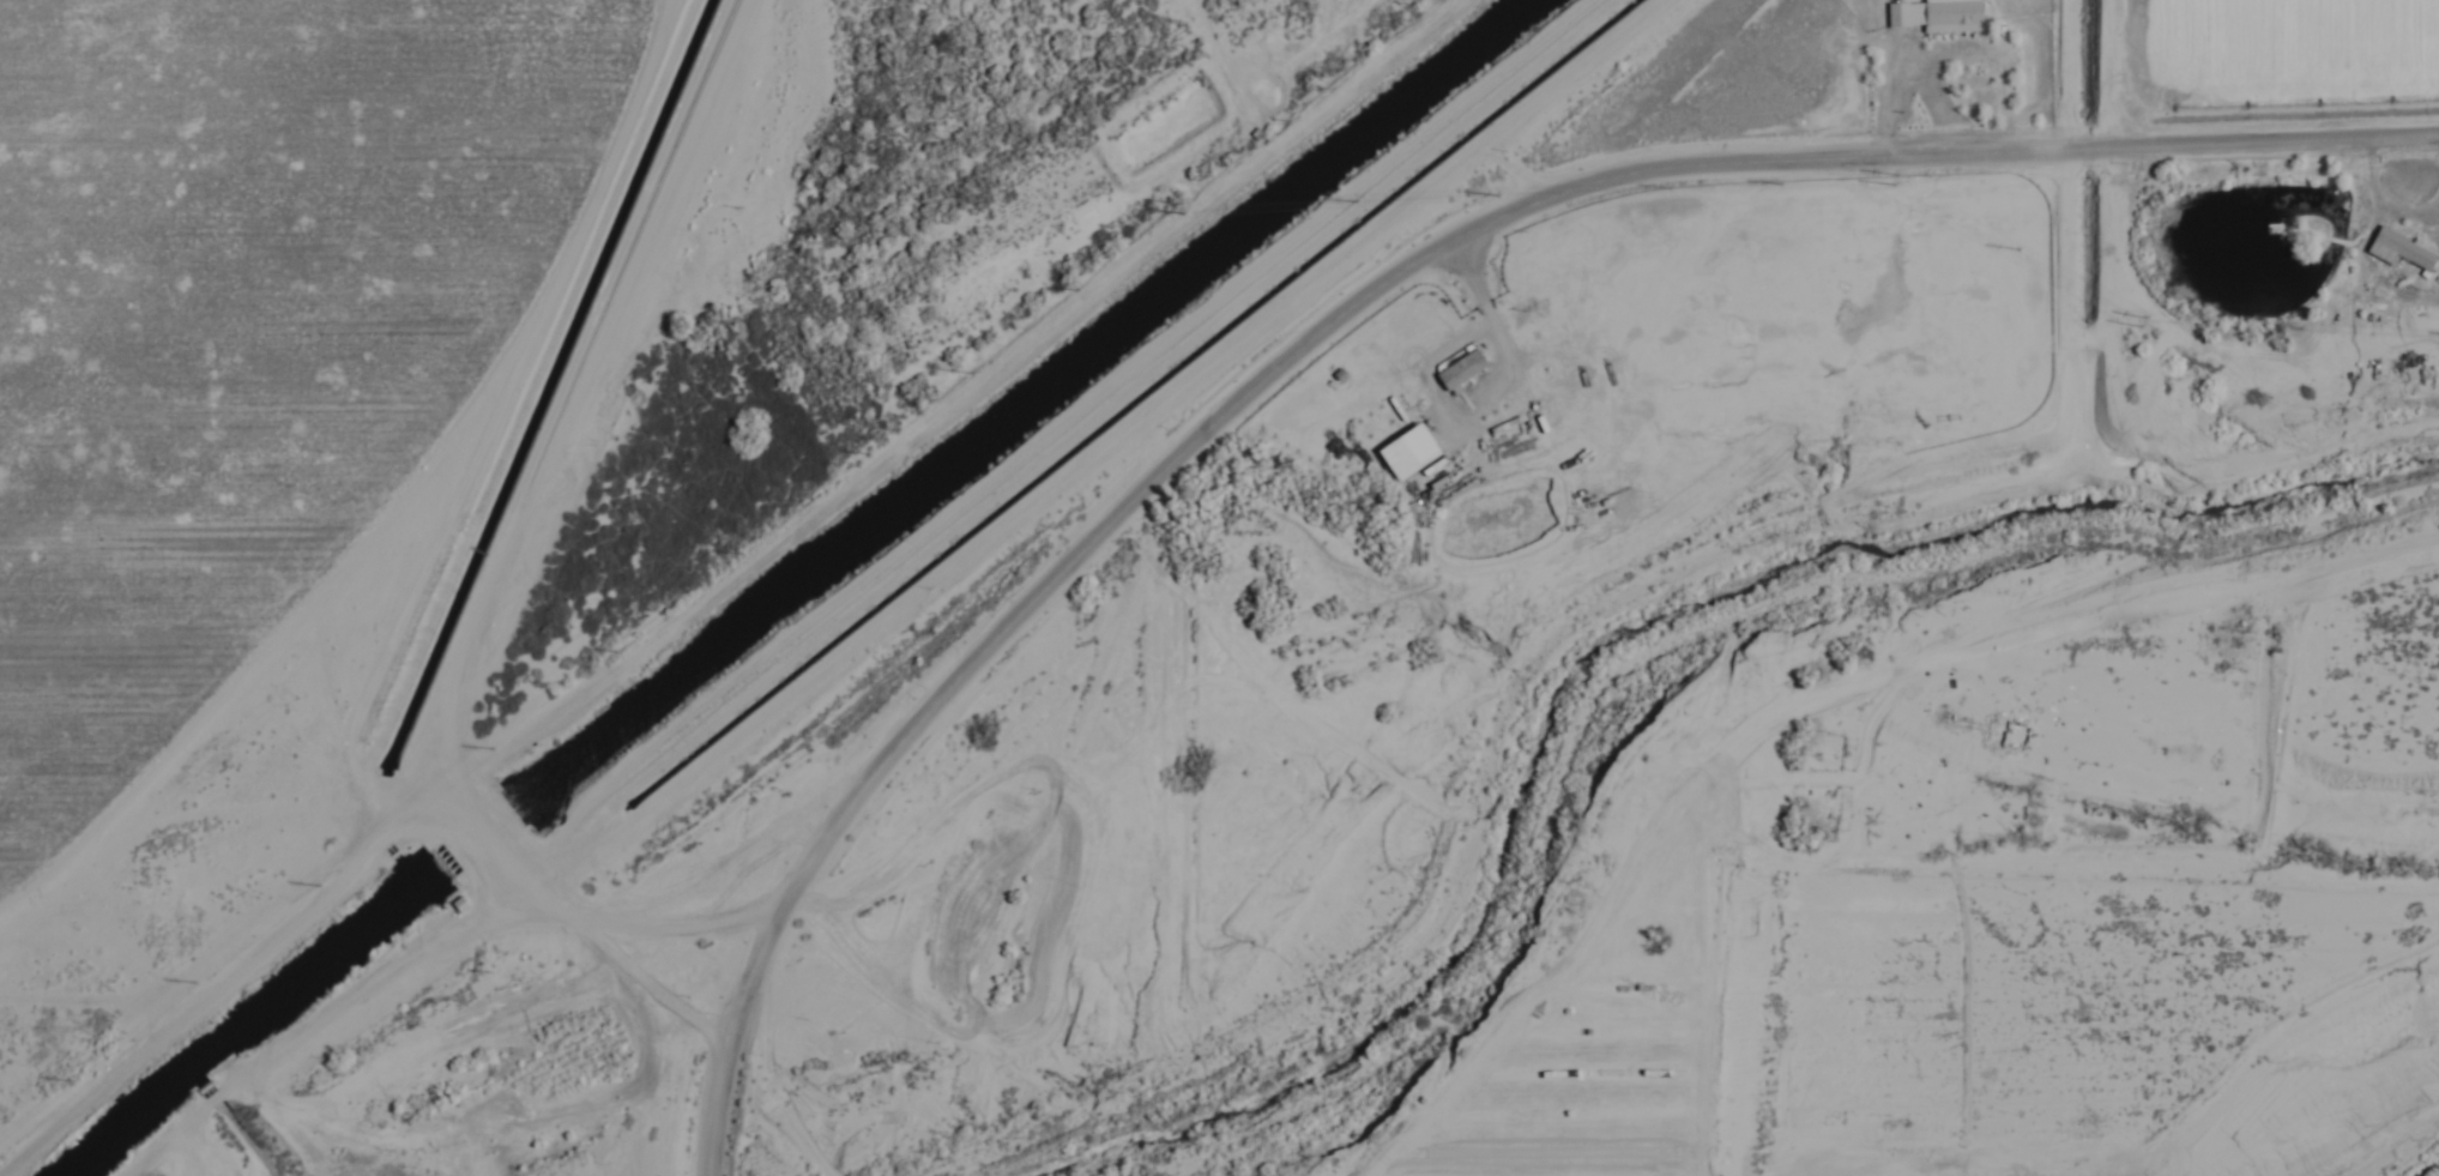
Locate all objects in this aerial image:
building: (1934, 16)
crop: (2280, 38)
building: (2397, 249)
building: (2367, 293)
road: (1514, 316)
building: (1457, 369)
crop: (215, 424)
building: (10, 975)
road: (728, 1036)

